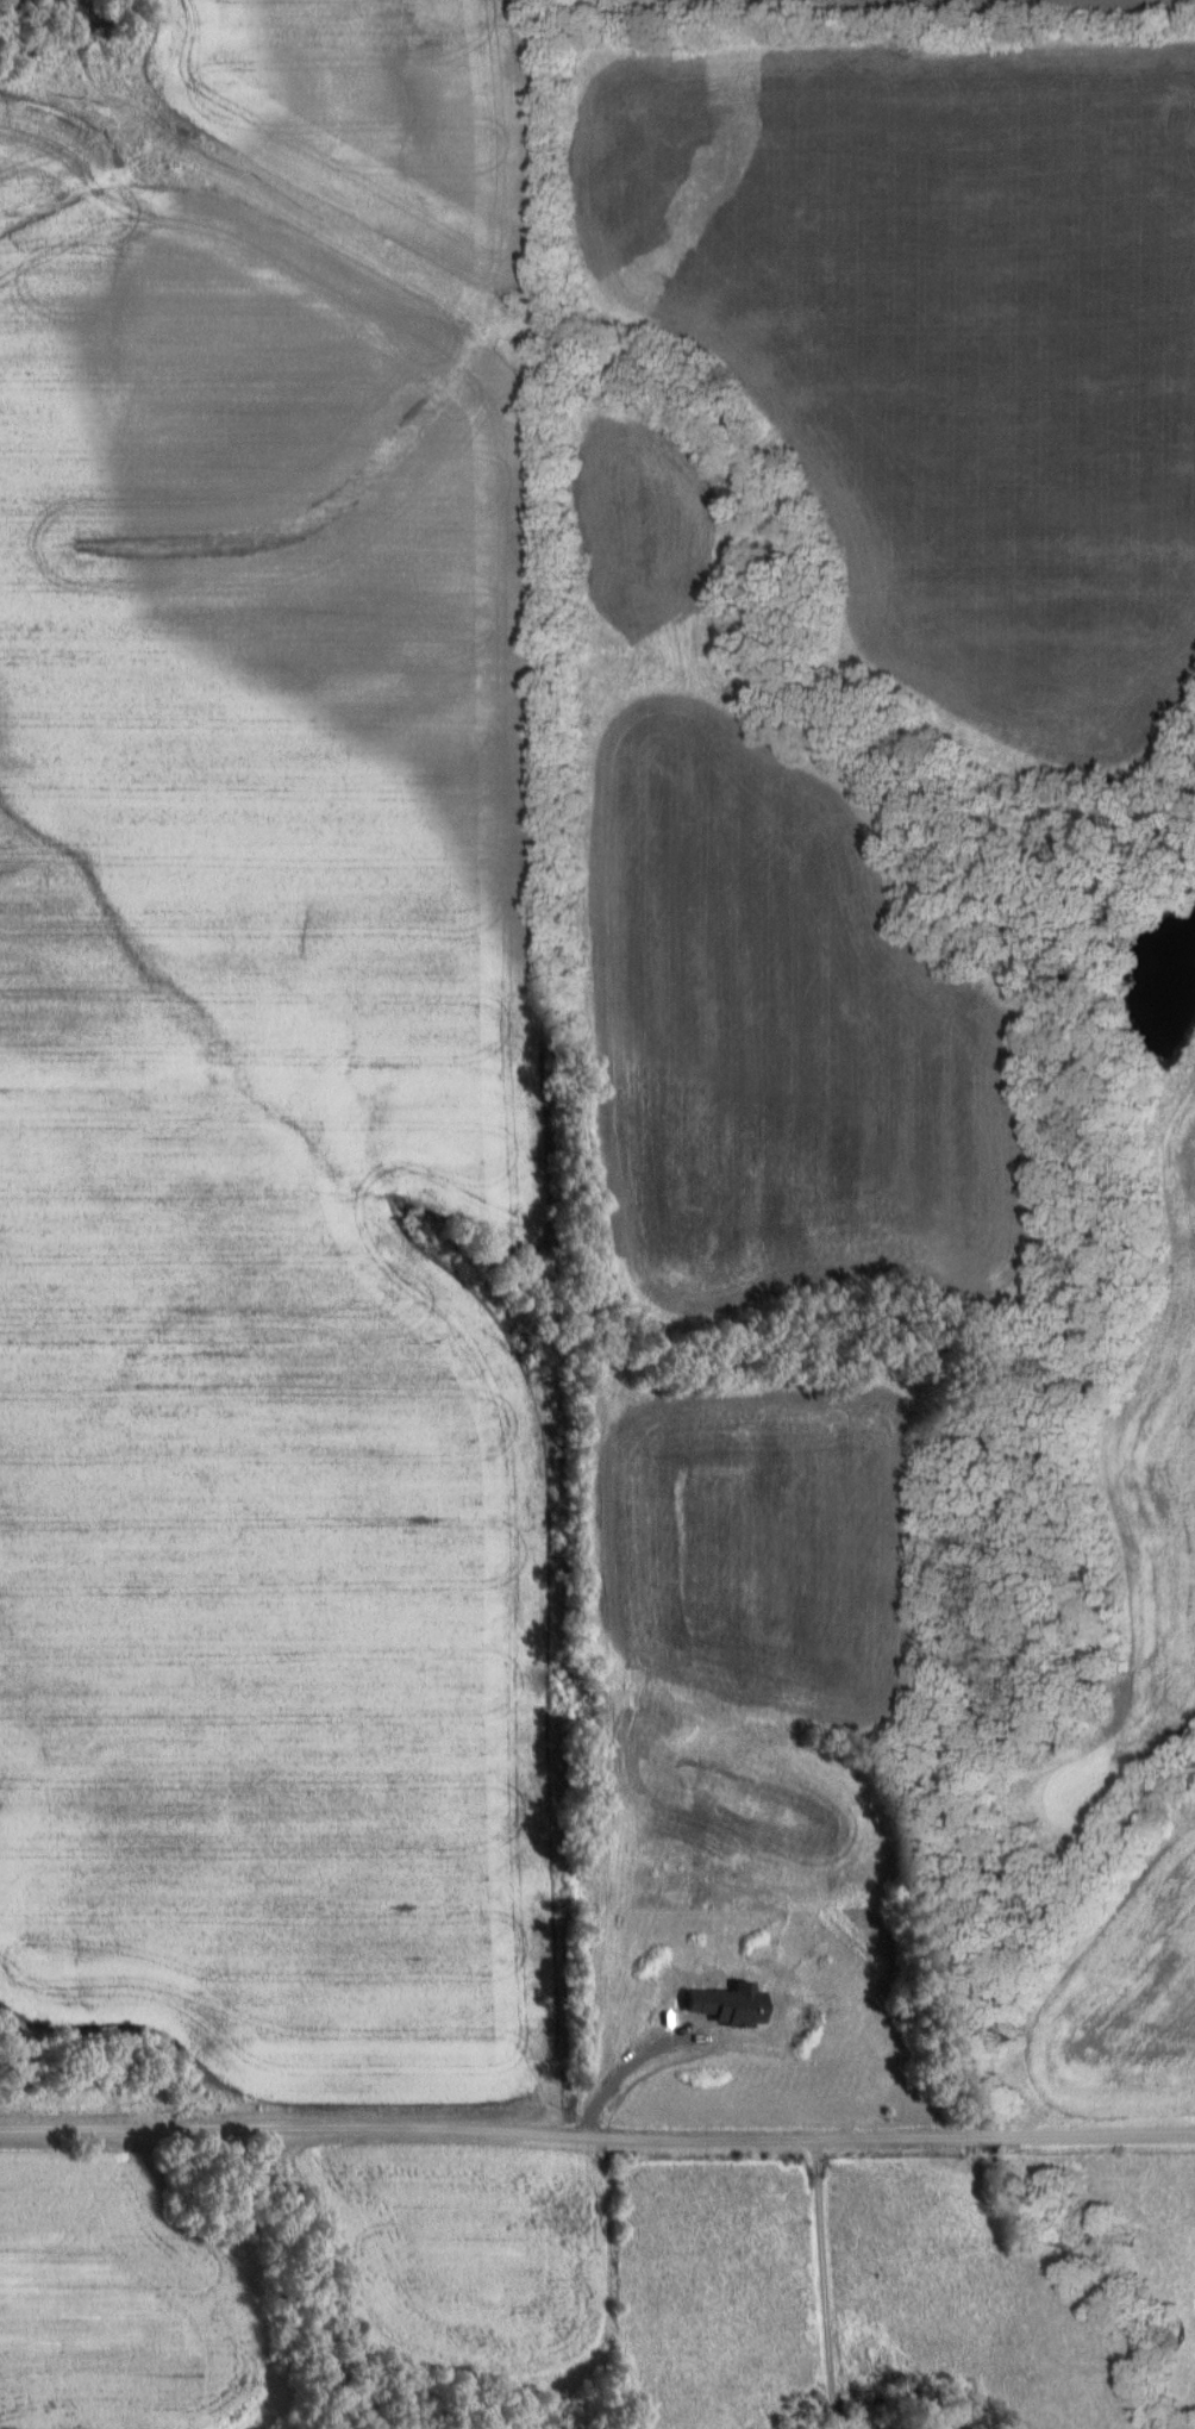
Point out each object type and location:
road: (936, 2128)
road: (338, 2129)
road: (819, 2278)

